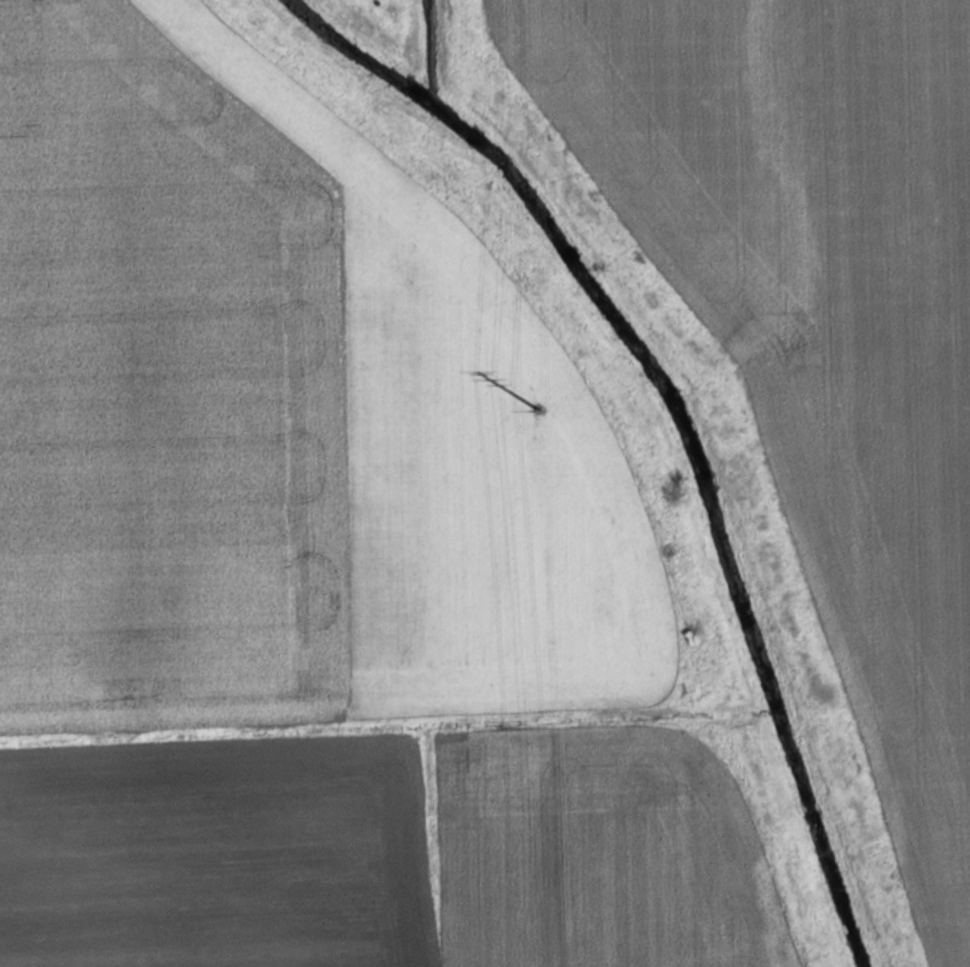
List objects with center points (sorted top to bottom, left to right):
power tower: (536, 403)

